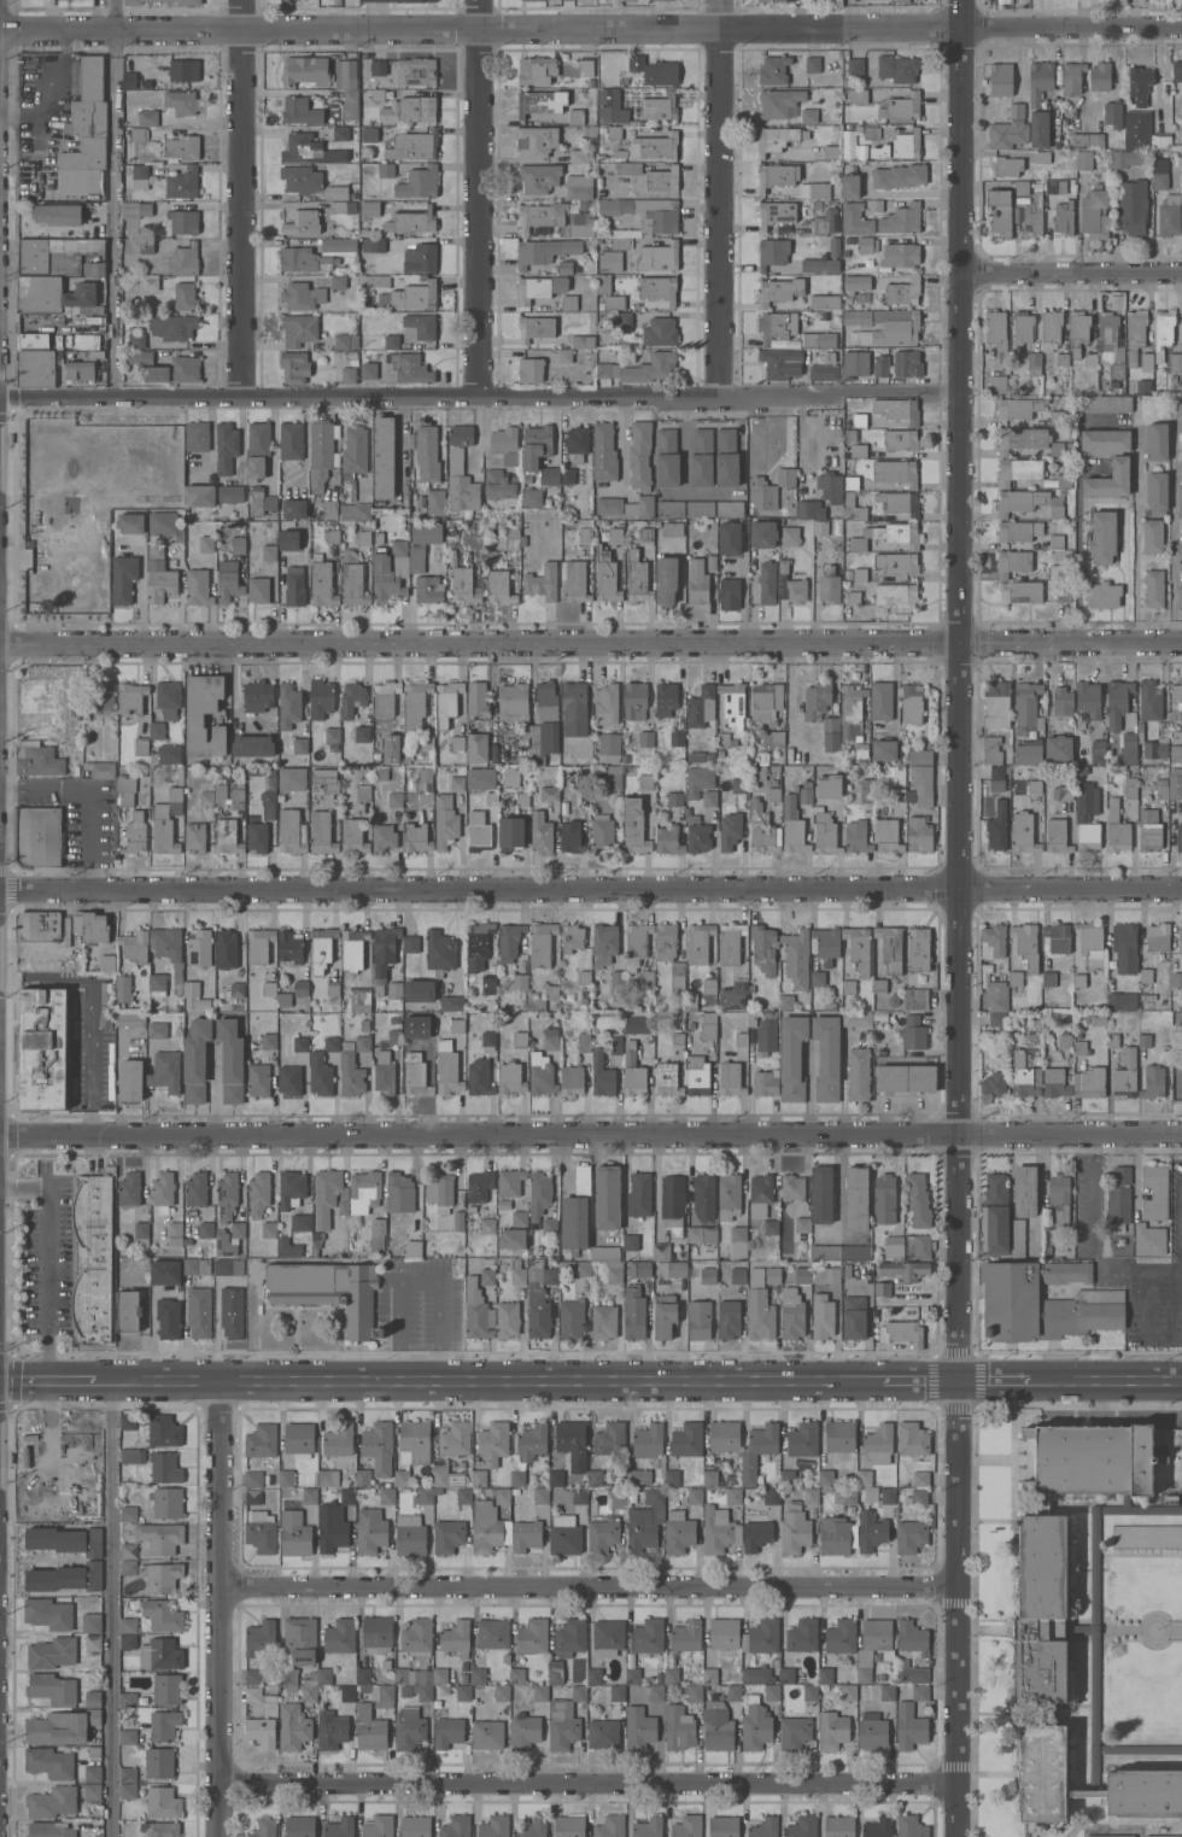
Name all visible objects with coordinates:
building: (288, 0)
building: (397, 0)
building: (628, 0)
building: (662, 0)
building: (767, 0)
building: (162, 1)
building: (901, 1)
building: (643, 2)
road: (591, 21)
building: (813, 65)
building: (855, 66)
building: (378, 68)
building: (585, 68)
building: (305, 69)
building: (897, 69)
building: (183, 70)
building: (1019, 70)
building: (416, 71)
building: (537, 71)
building: (655, 71)
building: (773, 71)
building: (1177, 71)
building: (1099, 77)
building: (1072, 78)
building: (129, 80)
building: (1001, 80)
road: (41, 81)
building: (1040, 82)
building: (1139, 86)
building: (350, 88)
building: (378, 95)
building: (858, 95)
building: (181, 103)
building: (540, 103)
building: (778, 103)
building: (903, 106)
building: (659, 107)
building: (613, 109)
building: (410, 110)
building: (299, 111)
building: (1112, 113)
building: (575, 117)
building: (808, 117)
building: (147, 118)
building: (1008, 128)
building: (1038, 130)
building: (614, 131)
building: (871, 131)
building: (1142, 133)
building: (86, 134)
building: (137, 134)
building: (340, 134)
building: (369, 135)
building: (776, 140)
building: (537, 141)
building: (1079, 141)
building: (1095, 141)
building: (848, 144)
building: (412, 146)
road: (41, 147)
building: (651, 147)
building: (900, 147)
building: (182, 148)
building: (309, 150)
building: (830, 153)
building: (581, 156)
building: (1046, 158)
building: (1125, 159)
building: (1083, 160)
building: (1010, 168)
building: (628, 169)
building: (386, 170)
building: (776, 176)
building: (899, 176)
building: (140, 177)
building: (539, 177)
building: (302, 180)
building: (662, 180)
building: (1160, 182)
building: (419, 183)
building: (182, 185)
building: (849, 186)
building: (579, 187)
building: (1055, 187)
building: (1022, 188)
building: (819, 191)
building: (340, 193)
road: (116, 194)
road: (244, 194)
road: (480, 194)
road: (721, 194)
building: (997, 198)
building: (874, 206)
building: (1133, 206)
building: (344, 207)
building: (135, 210)
building: (368, 210)
building: (776, 213)
building: (57, 215)
building: (1094, 215)
building: (643, 216)
building: (1169, 216)
building: (1032, 218)
building: (1064, 218)
building: (556, 220)
building: (854, 220)
building: (901, 220)
building: (411, 221)
building: (1001, 221)
building: (183, 222)
building: (303, 223)
building: (824, 223)
building: (363, 232)
building: (100, 242)
building: (621, 244)
building: (373, 245)
building: (866, 245)
building: (338, 246)
building: (146, 247)
building: (833, 247)
building: (544, 252)
building: (772, 252)
building: (899, 257)
building: (421, 258)
building: (659, 258)
building: (183, 259)
building: (55, 261)
building: (304, 261)
building: (610, 262)
building: (819, 265)
building: (564, 268)
building: (339, 270)
road: (1071, 271)
building: (339, 281)
building: (373, 281)
building: (150, 283)
building: (602, 283)
building: (897, 287)
building: (539, 288)
building: (856, 288)
building: (659, 289)
building: (778, 292)
building: (53, 296)
building: (302, 296)
building: (414, 296)
building: (186, 297)
building: (613, 303)
building: (825, 303)
building: (569, 304)
building: (622, 320)
road: (961, 321)
building: (777, 326)
building: (884, 326)
building: (420, 327)
building: (174, 328)
building: (536, 328)
building: (1022, 328)
building: (298, 329)
building: (1078, 329)
building: (1107, 329)
building: (996, 330)
building: (1051, 330)
building: (660, 333)
building: (1163, 333)
building: (1135, 334)
building: (1181, 337)
building: (135, 339)
building: (86, 340)
building: (819, 340)
building: (34, 341)
building: (346, 343)
building: (392, 343)
building: (583, 343)
building: (140, 356)
building: (351, 356)
building: (564, 357)
building: (829, 357)
building: (1063, 359)
building: (1090, 359)
building: (880, 362)
building: (779, 363)
building: (1147, 363)
building: (1174, 363)
building: (907, 364)
building: (1034, 364)
building: (854, 365)
building: (83, 367)
building: (294, 367)
building: (37, 368)
building: (409, 368)
building: (650, 368)
building: (175, 370)
building: (531, 370)
building: (607, 370)
building: (368, 372)
building: (1117, 372)
building: (823, 373)
building: (349, 375)
building: (997, 384)
road: (480, 388)
building: (1102, 404)
building: (1018, 409)
building: (1175, 409)
building: (896, 410)
building: (1058, 419)
building: (859, 421)
road: (211, 433)
building: (852, 435)
building: (197, 437)
building: (461, 437)
building: (1022, 439)
building: (578, 440)
building: (901, 440)
building: (291, 441)
building: (1105, 441)
building: (1157, 441)
building: (323, 445)
building: (505, 445)
building: (536, 446)
building: (226, 447)
building: (1057, 449)
building: (257, 450)
building: (858, 451)
building: (353, 452)
building: (427, 454)
building: (604, 454)
building: (639, 456)
building: (384, 457)
building: (667, 458)
building: (702, 458)
building: (726, 458)
building: (475, 463)
building: (1018, 472)
building: (896, 473)
building: (550, 476)
building: (572, 476)
building: (785, 476)
building: (316, 478)
building: (1064, 481)
building: (1110, 481)
building: (852, 484)
building: (499, 485)
building: (830, 485)
building: (230, 493)
building: (1157, 493)
building: (762, 495)
building: (199, 496)
building: (532, 498)
building: (262, 501)
building: (435, 502)
building: (1180, 502)
building: (900, 503)
building: (1028, 503)
building: (609, 505)
building: (639, 508)
building: (294, 509)
building: (669, 509)
building: (700, 509)
building: (728, 509)
building: (853, 509)
building: (329, 510)
building: (809, 510)
building: (355, 511)
building: (130, 523)
building: (164, 525)
building: (632, 525)
road: (1136, 525)
building: (820, 528)
building: (672, 530)
building: (1018, 531)
building: (333, 533)
building: (762, 534)
building: (896, 534)
road: (1175, 534)
building: (585, 536)
building: (615, 536)
building: (645, 536)
building: (363, 537)
building: (789, 537)
building: (1102, 537)
building: (1153, 537)
building: (508, 539)
building: (728, 539)
building: (289, 540)
building: (522, 540)
building: (239, 542)
building: (475, 542)
building: (1055, 542)
building: (206, 544)
building: (422, 544)
building: (858, 545)
building: (269, 554)
building: (712, 562)
building: (896, 563)
building: (1013, 563)
building: (390, 572)
building: (1057, 573)
building: (859, 575)
building: (159, 577)
building: (605, 577)
building: (637, 578)
building: (123, 579)
building: (353, 580)
building: (667, 581)
building: (322, 583)
building: (542, 583)
building: (575, 583)
building: (697, 583)
building: (767, 583)
building: (789, 585)
building: (228, 586)
building: (463, 586)
building: (198, 587)
building: (294, 587)
building: (499, 587)
building: (829, 587)
building: (1154, 589)
building: (258, 590)
building: (429, 590)
road: (743, 591)
building: (1019, 593)
building: (728, 595)
building: (1101, 595)
building: (1063, 596)
building: (896, 597)
building: (1180, 597)
building: (853, 598)
road: (1071, 643)
road: (480, 645)
building: (258, 696)
building: (131, 697)
building: (1176, 697)
building: (321, 698)
building: (385, 698)
building: (449, 698)
building: (99, 700)
building: (168, 700)
building: (351, 700)
building: (666, 700)
building: (478, 701)
building: (636, 701)
building: (766, 701)
building: (815, 701)
building: (880, 701)
building: (1149, 701)
building: (513, 702)
building: (546, 702)
building: (1061, 702)
building: (415, 703)
building: (732, 703)
building: (1087, 703)
building: (1117, 703)
building: (605, 704)
building: (912, 704)
building: (996, 704)
building: (289, 707)
building: (701, 707)
building: (1026, 708)
building: (574, 709)
building: (850, 709)
building: (40, 710)
building: (195, 720)
building: (830, 724)
building: (157, 731)
building: (363, 735)
building: (333, 736)
building: (677, 738)
building: (772, 738)
building: (645, 739)
building: (725, 741)
building: (394, 742)
building: (426, 743)
building: (522, 743)
building: (831, 743)
building: (457, 744)
building: (544, 744)
building: (300, 745)
building: (141, 747)
building: (253, 747)
building: (476, 748)
building: (609, 748)
building: (1058, 748)
building: (1128, 749)
building: (885, 750)
building: (990, 750)
building: (1155, 750)
building: (861, 751)
building: (1098, 751)
building: (1029, 753)
building: (169, 754)
building: (1175, 754)
building: (74, 755)
building: (700, 757)
building: (920, 757)
building: (380, 759)
building: (397, 759)
building: (39, 762)
building: (100, 770)
building: (142, 772)
building: (379, 773)
building: (757, 773)
building: (426, 777)
building: (511, 777)
building: (481, 778)
building: (614, 778)
building: (997, 778)
building: (269, 779)
building: (292, 779)
building: (326, 779)
building: (584, 782)
building: (698, 782)
building: (774, 782)
building: (457, 783)
building: (645, 783)
building: (738, 785)
building: (921, 785)
building: (829, 786)
building: (867, 786)
building: (1034, 788)
building: (1174, 788)
building: (1130, 789)
building: (1160, 789)
building: (125, 790)
parking lot: (53, 792)
building: (236, 792)
building: (363, 792)
building: (176, 794)
building: (221, 794)
building: (550, 794)
building: (774, 794)
building: (806, 794)
building: (1061, 794)
road: (92, 796)
building: (899, 796)
building: (269, 797)
building: (909, 797)
building: (206, 798)
building: (709, 798)
building: (396, 800)
building: (426, 800)
building: (492, 800)
building: (674, 800)
building: (1086, 802)
building: (564, 808)
building: (1112, 809)
building: (692, 819)
building: (445, 823)
parking lot: (94, 827)
building: (634, 827)
building: (792, 827)
building: (997, 829)
building: (1148, 830)
building: (730, 831)
building: (762, 831)
building: (164, 832)
building: (478, 832)
building: (540, 832)
building: (824, 832)
building: (292, 833)
building: (322, 833)
building: (1023, 833)
building: (135, 835)
building: (511, 835)
building: (918, 835)
building: (39, 837)
building: (195, 837)
building: (257, 837)
building: (353, 837)
building: (384, 837)
building: (604, 837)
building: (888, 837)
building: (1057, 837)
building: (1088, 837)
building: (1118, 837)
building: (1178, 837)
building: (228, 838)
building: (416, 838)
building: (572, 838)
building: (698, 838)
building: (856, 838)
building: (668, 841)
road: (591, 896)
building: (37, 926)
building: (90, 926)
building: (573, 937)
building: (1157, 937)
building: (510, 938)
building: (1057, 938)
road: (1107, 938)
building: (1090, 940)
building: (1180, 940)
building: (666, 942)
building: (542, 943)
building: (697, 943)
building: (730, 943)
building: (166, 944)
building: (259, 944)
building: (410, 944)
building: (604, 944)
building: (636, 944)
building: (825, 944)
building: (1025, 946)
building: (134, 947)
building: (289, 947)
building: (478, 947)
building: (200, 948)
building: (322, 948)
building: (890, 948)
building: (1124, 948)
building: (226, 949)
building: (353, 949)
building: (763, 949)
building: (858, 949)
building: (919, 949)
building: (440, 953)
building: (796, 958)
building: (106, 964)
building: (386, 966)
building: (984, 966)
building: (585, 970)
building: (192, 971)
building: (179, 977)
building: (675, 977)
building: (1014, 978)
building: (818, 979)
building: (1048, 979)
building: (1176, 979)
building: (1079, 981)
building: (157, 983)
building: (616, 983)
building: (1146, 984)
building: (488, 985)
building: (709, 987)
building: (879, 987)
building: (269, 988)
building: (300, 988)
building: (848, 988)
building: (123, 989)
building: (238, 990)
building: (420, 991)
building: (733, 995)
building: (194, 996)
building: (283, 999)
building: (358, 1000)
building: (542, 1000)
building: (915, 1000)
building: (1122, 1001)
building: (691, 1002)
building: (786, 1002)
building: (452, 1004)
road: (90, 1014)
building: (130, 1019)
building: (855, 1019)
building: (1098, 1019)
building: (636, 1020)
building: (996, 1020)
building: (410, 1023)
building: (708, 1028)
building: (157, 1031)
building: (911, 1031)
building: (394, 1036)
building: (487, 1037)
building: (766, 1037)
building: (551, 1039)
parking lot: (90, 1040)
building: (520, 1040)
building: (1113, 1040)
building: (1143, 1040)
building: (678, 1041)
building: (687, 1041)
building: (1065, 1041)
building: (269, 1042)
building: (1032, 1042)
building: (584, 1043)
building: (300, 1045)
building: (332, 1045)
building: (362, 1045)
building: (16, 1046)
building: (615, 1046)
building: (1079, 1048)
building: (42, 1049)
building: (791, 1058)
building: (826, 1058)
building: (232, 1060)
building: (195, 1061)
building: (446, 1069)
building: (165, 1072)
building: (351, 1072)
building: (633, 1072)
building: (385, 1073)
building: (1125, 1073)
building: (320, 1075)
building: (542, 1075)
building: (858, 1075)
building: (602, 1076)
building: (697, 1076)
building: (1022, 1077)
building: (479, 1078)
building: (510, 1078)
building: (906, 1078)
building: (131, 1080)
building: (416, 1080)
building: (730, 1080)
building: (258, 1081)
building: (289, 1081)
building: (572, 1081)
building: (667, 1081)
building: (1089, 1082)
building: (765, 1083)
building: (1054, 1083)
building: (1152, 1083)
building: (993, 1086)
road: (808, 1092)
road: (591, 1137)
road: (1136, 1171)
building: (1122, 1176)
building: (510, 1183)
building: (480, 1187)
building: (792, 1188)
road: (838, 1188)
building: (129, 1189)
building: (197, 1189)
building: (291, 1189)
building: (761, 1189)
building: (995, 1189)
building: (364, 1192)
building: (1025, 1192)
building: (163, 1193)
building: (399, 1193)
building: (440, 1193)
building: (1154, 1193)
building: (258, 1194)
building: (227, 1195)
building: (639, 1195)
building: (821, 1195)
building: (328, 1197)
building: (703, 1197)
building: (728, 1197)
building: (608, 1198)
building: (856, 1198)
building: (884, 1199)
building: (918, 1200)
building: (1059, 1200)
road: (1095, 1203)
building: (504, 1204)
building: (540, 1204)
building: (673, 1205)
parking lot: (1090, 1206)
building: (1117, 1207)
building: (577, 1211)
building: (520, 1219)
building: (458, 1222)
building: (300, 1223)
building: (802, 1224)
building: (488, 1227)
building: (995, 1229)
building: (206, 1230)
building: (269, 1230)
building: (771, 1230)
building: (174, 1232)
building: (751, 1233)
building: (141, 1235)
building: (378, 1235)
building: (700, 1236)
building: (222, 1240)
building: (513, 1240)
road: (966, 1240)
building: (1017, 1240)
building: (1148, 1240)
building: (630, 1242)
building: (738, 1242)
building: (907, 1244)
building: (921, 1247)
building: (287, 1248)
building: (414, 1250)
building: (855, 1251)
building: (894, 1251)
building: (661, 1252)
building: (824, 1252)
building: (604, 1254)
parking lot: (49, 1257)
road: (46, 1259)
building: (93, 1259)
building: (197, 1266)
building: (228, 1268)
building: (577, 1268)
building: (644, 1269)
building: (672, 1269)
road: (1139, 1269)
building: (903, 1271)
building: (615, 1273)
building: (165, 1274)
building: (824, 1274)
building: (708, 1275)
building: (738, 1275)
building: (755, 1276)
building: (773, 1276)
building: (802, 1276)
building: (487, 1277)
building: (519, 1277)
parking lot: (1149, 1287)
building: (882, 1289)
building: (328, 1291)
building: (539, 1300)
building: (1043, 1303)
parking lot: (422, 1305)
building: (129, 1311)
building: (199, 1312)
building: (232, 1312)
building: (478, 1312)
building: (759, 1312)
building: (634, 1314)
building: (792, 1314)
building: (665, 1317)
building: (821, 1317)
building: (854, 1317)
building: (507, 1318)
building: (168, 1320)
building: (570, 1320)
building: (727, 1320)
building: (700, 1321)
building: (603, 1322)
road: (1141, 1322)
building: (902, 1334)
road: (23, 1379)
road: (69, 1379)
road: (930, 1379)
road: (993, 1379)
road: (1100, 1379)
road: (492, 1380)
building: (128, 1421)
building: (163, 1432)
building: (724, 1437)
building: (839, 1437)
building: (570, 1439)
building: (610, 1439)
building: (912, 1439)
building: (299, 1440)
building: (338, 1440)
building: (456, 1440)
building: (649, 1440)
building: (687, 1440)
building: (802, 1440)
building: (262, 1441)
building: (412, 1441)
building: (532, 1443)
building: (878, 1443)
building: (493, 1444)
parking lot: (51, 1445)
building: (379, 1447)
building: (757, 1452)
building: (75, 1453)
building: (131, 1456)
building: (1092, 1456)
building: (165, 1469)
building: (446, 1475)
building: (638, 1476)
building: (864, 1476)
building: (479, 1478)
building: (556, 1478)
building: (286, 1479)
building: (328, 1479)
building: (363, 1479)
building: (402, 1479)
building: (517, 1479)
building: (596, 1479)
building: (672, 1479)
building: (710, 1479)
building: (786, 1479)
building: (825, 1479)
building: (920, 1479)
building: (253, 1480)
building: (438, 1491)
building: (870, 1493)
building: (499, 1494)
building: (732, 1496)
building: (844, 1496)
building: (888, 1496)
building: (310, 1497)
building: (387, 1497)
building: (423, 1497)
building: (464, 1497)
building: (542, 1497)
building: (580, 1497)
building: (618, 1497)
building: (695, 1497)
building: (771, 1497)
building: (811, 1497)
building: (918, 1497)
building: (253, 1498)
parking lot: (59, 1502)
building: (168, 1503)
building: (129, 1514)
building: (645, 1522)
building: (334, 1523)
building: (488, 1528)
building: (794, 1528)
building: (719, 1529)
building: (261, 1532)
building: (370, 1532)
building: (678, 1532)
building: (755, 1532)
building: (871, 1532)
building: (294, 1534)
building: (410, 1535)
building: (526, 1535)
building: (564, 1535)
building: (1146, 1535)
building: (447, 1537)
building: (602, 1537)
building: (837, 1537)
building: (909, 1537)
building: (160, 1538)
building: (129, 1550)
building: (93, 1560)
building: (129, 1566)
building: (162, 1575)
road: (590, 1584)
road: (111, 1608)
building: (1041, 1608)
road: (221, 1609)
building: (49, 1613)
building: (164, 1614)
building: (92, 1624)
building: (128, 1625)
flagpole: (1154, 1630)
building: (491, 1631)
building: (722, 1631)
building: (375, 1632)
building: (685, 1633)
building: (801, 1633)
building: (839, 1633)
building: (339, 1634)
building: (416, 1634)
building: (532, 1634)
building: (569, 1634)
building: (607, 1634)
building: (648, 1634)
building: (762, 1634)
building: (456, 1636)
building: (912, 1636)
building: (259, 1637)
building: (93, 1642)
building: (129, 1642)
building: (872, 1644)
building: (294, 1645)
building: (52, 1652)
building: (160, 1654)
building: (268, 1668)
building: (556, 1669)
building: (912, 1672)
building: (631, 1673)
building: (669, 1673)
building: (708, 1673)
building: (755, 1673)
building: (790, 1673)
building: (824, 1673)
building: (318, 1674)
building: (362, 1674)
building: (420, 1674)
building: (478, 1674)
building: (515, 1674)
building: (593, 1674)
building: (251, 1675)
building: (659, 1678)
building: (51, 1685)
building: (714, 1685)
building: (291, 1686)
building: (1093, 1686)
building: (166, 1689)
building: (423, 1689)
building: (730, 1689)
building: (309, 1690)
building: (462, 1690)
building: (538, 1690)
building: (615, 1690)
building: (654, 1690)
building: (771, 1690)
building: (809, 1690)
building: (848, 1690)
building: (886, 1690)
building: (919, 1690)
building: (347, 1691)
building: (501, 1691)
building: (694, 1691)
building: (256, 1692)
building: (382, 1693)
building: (92, 1697)
building: (128, 1698)
building: (563, 1718)
building: (164, 1724)
building: (909, 1724)
building: (60, 1725)
building: (293, 1725)
building: (677, 1725)
building: (716, 1725)
building: (755, 1725)
building: (408, 1726)
building: (638, 1726)
building: (330, 1727)
building: (369, 1727)
building: (522, 1728)
building: (831, 1728)
building: (871, 1728)
building: (259, 1730)
building: (446, 1730)
building: (792, 1730)
building: (601, 1731)
building: (486, 1732)
building: (129, 1736)
building: (160, 1762)
building: (59, 1765)
building: (1041, 1768)
building: (128, 1774)
road: (589, 1780)
building: (1145, 1790)
building: (93, 1791)
building: (128, 1791)
building: (1086, 1791)
building: (162, 1801)
building: (52, 1802)
building: (298, 1825)
building: (378, 1825)
building: (415, 1825)
building: (454, 1825)
building: (492, 1825)
building: (568, 1825)
building: (685, 1825)
building: (722, 1825)
building: (801, 1825)
building: (838, 1825)
building: (909, 1825)
building: (338, 1826)
building: (531, 1826)
building: (609, 1826)
building: (646, 1826)
building: (763, 1826)
building: (877, 1826)
building: (263, 1827)
building: (160, 1829)
building: (49, 1830)
building: (1108, 1836)
building: (1163, 1836)

